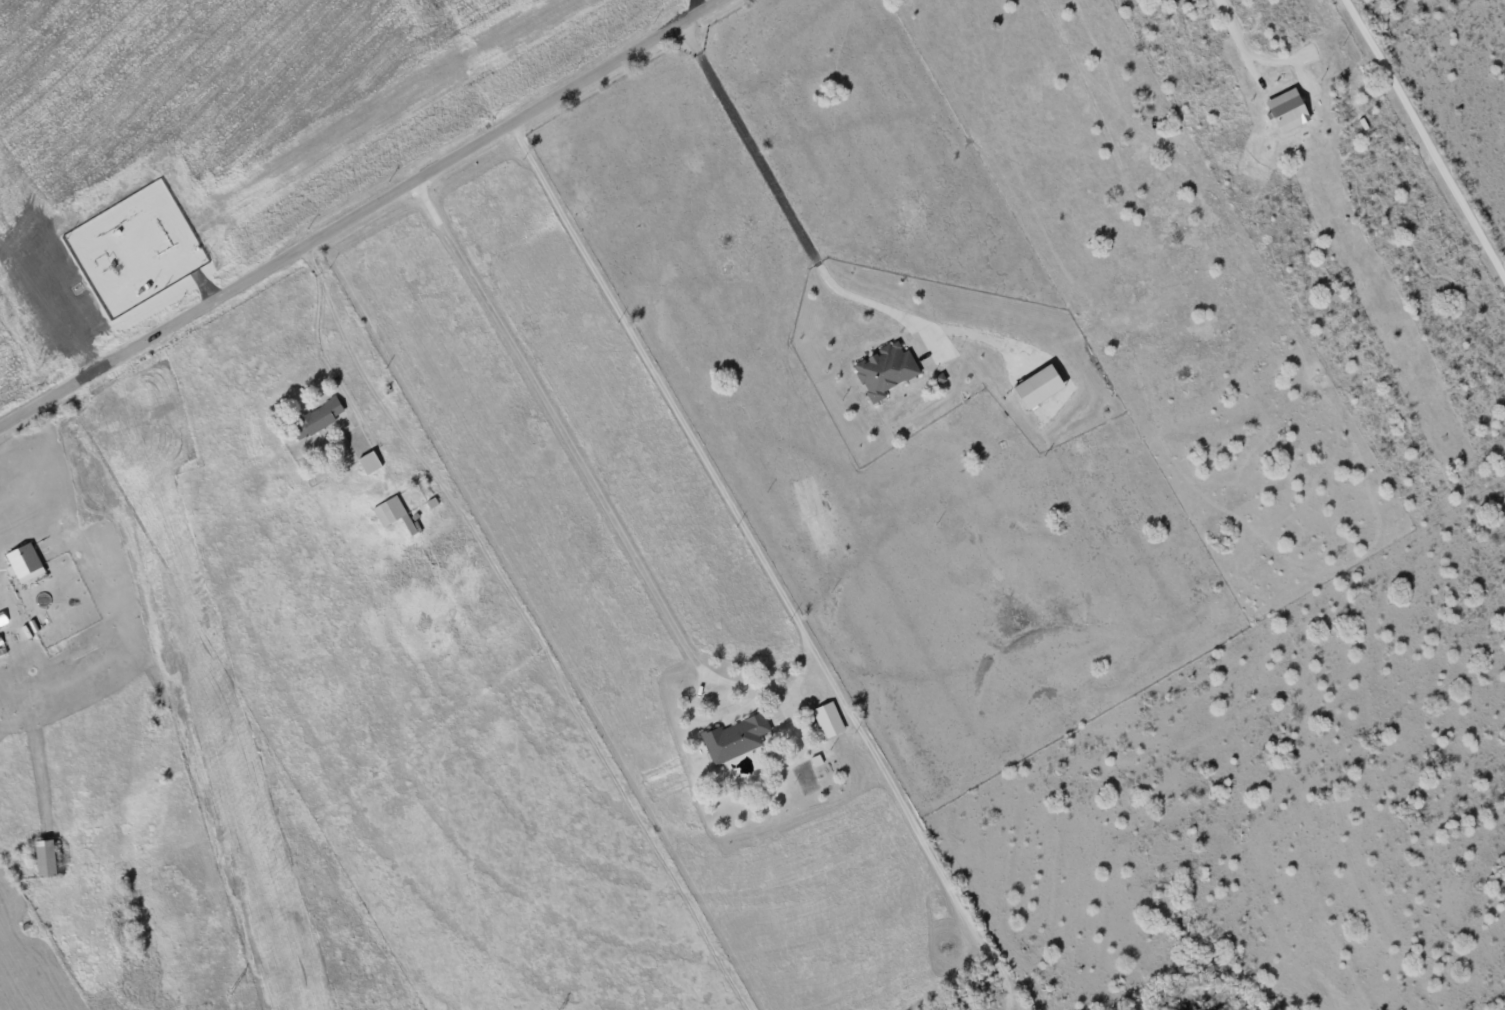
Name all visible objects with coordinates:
road: (1226, 39)
building: (1287, 111)
road: (1434, 120)
road: (787, 212)
road: (360, 214)
road: (309, 336)
building: (884, 370)
building: (1037, 386)
building: (320, 415)
building: (367, 462)
road: (593, 489)
building: (392, 513)
building: (22, 563)
road: (764, 568)
building: (827, 720)
building: (733, 738)
building: (815, 760)
building: (44, 858)
power tower: (230, 992)

